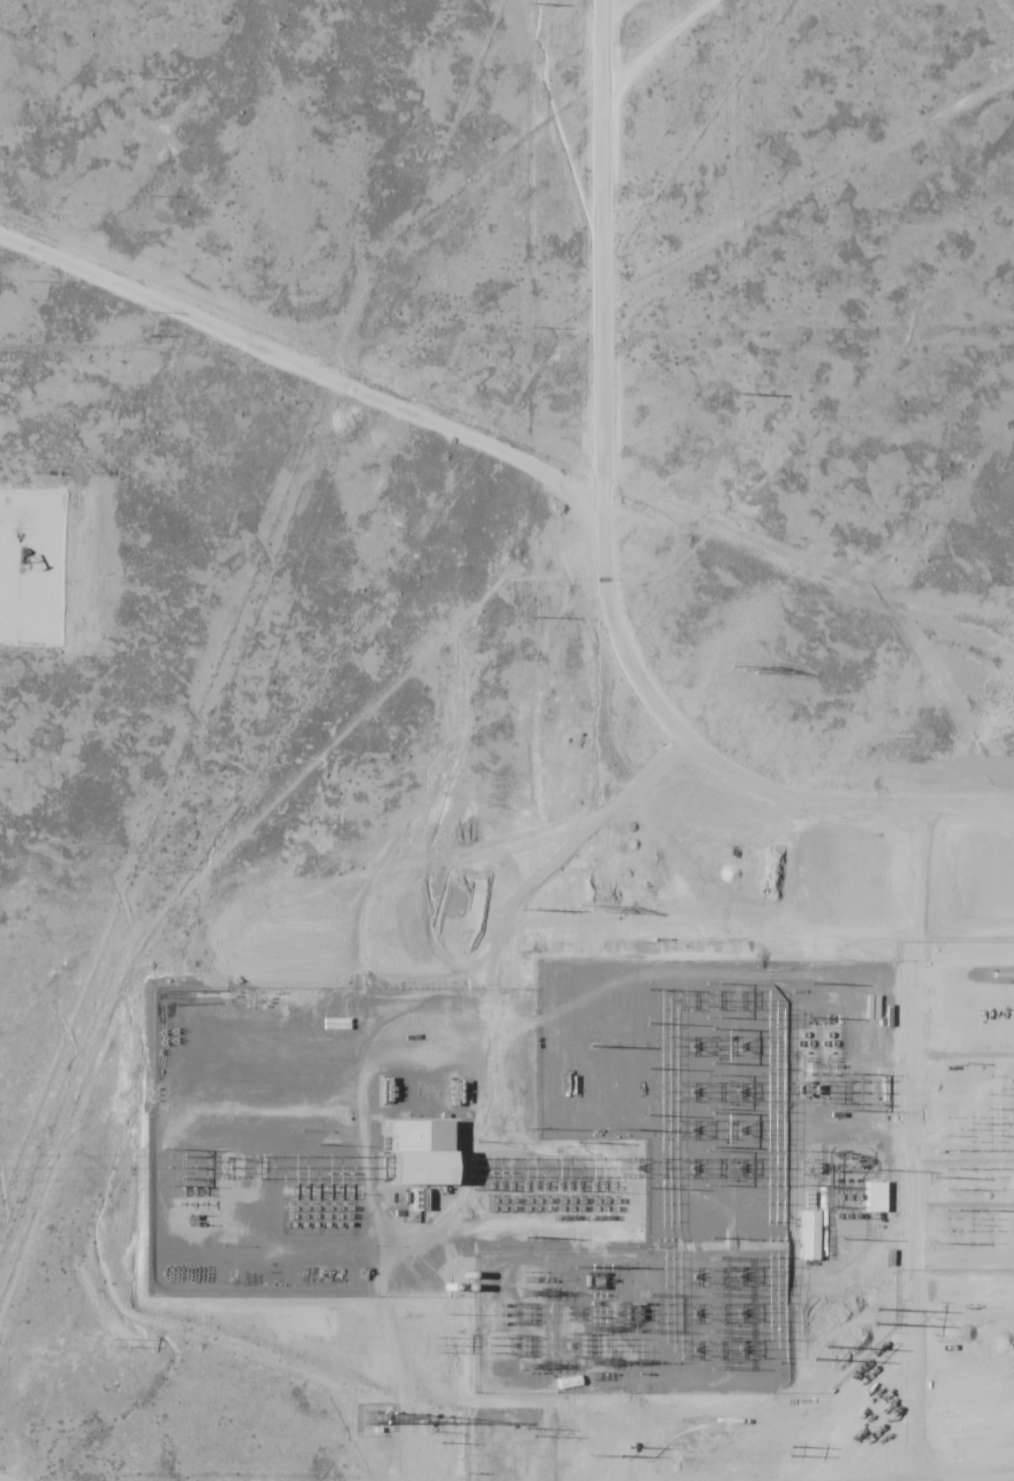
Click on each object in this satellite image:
power tower: (528, 3)
road: (665, 52)
power tower: (529, 326)
road: (296, 365)
power tower: (727, 394)
road: (596, 572)
power tower: (527, 618)
power tower: (742, 697)
power tower: (532, 909)
power tower: (791, 1001)
power tower: (533, 1128)
power substation: (536, 1151)
building: (422, 1153)
power tower: (169, 1167)
building: (876, 1197)
building: (810, 1236)
power tower: (713, 1315)
power tower: (839, 1317)
power tower: (117, 1341)
power tower: (436, 1346)
power tower: (822, 1354)
road: (467, 1435)
power tower: (628, 1450)
power tower: (789, 1450)
road: (971, 1459)

